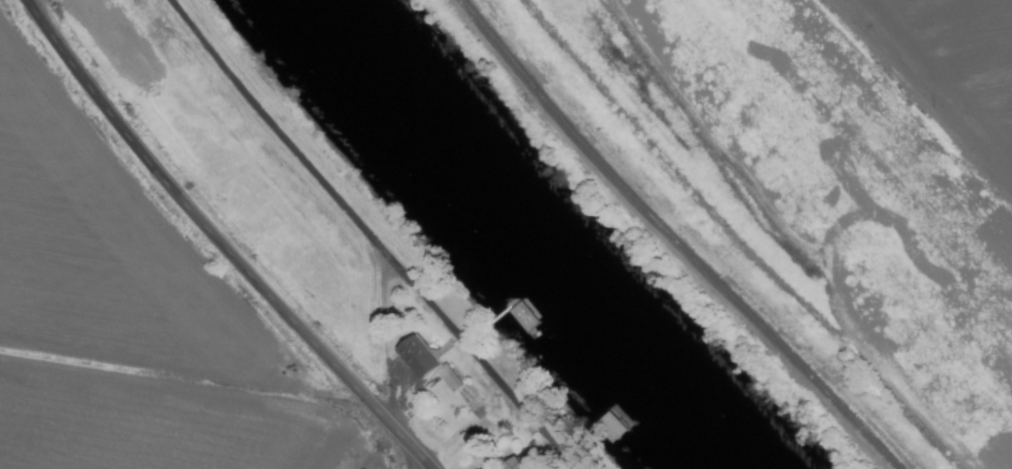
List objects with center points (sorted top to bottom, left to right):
crop: (819, 182)
road: (369, 236)
road: (218, 242)
crop: (158, 263)
building: (415, 358)
road: (416, 463)

